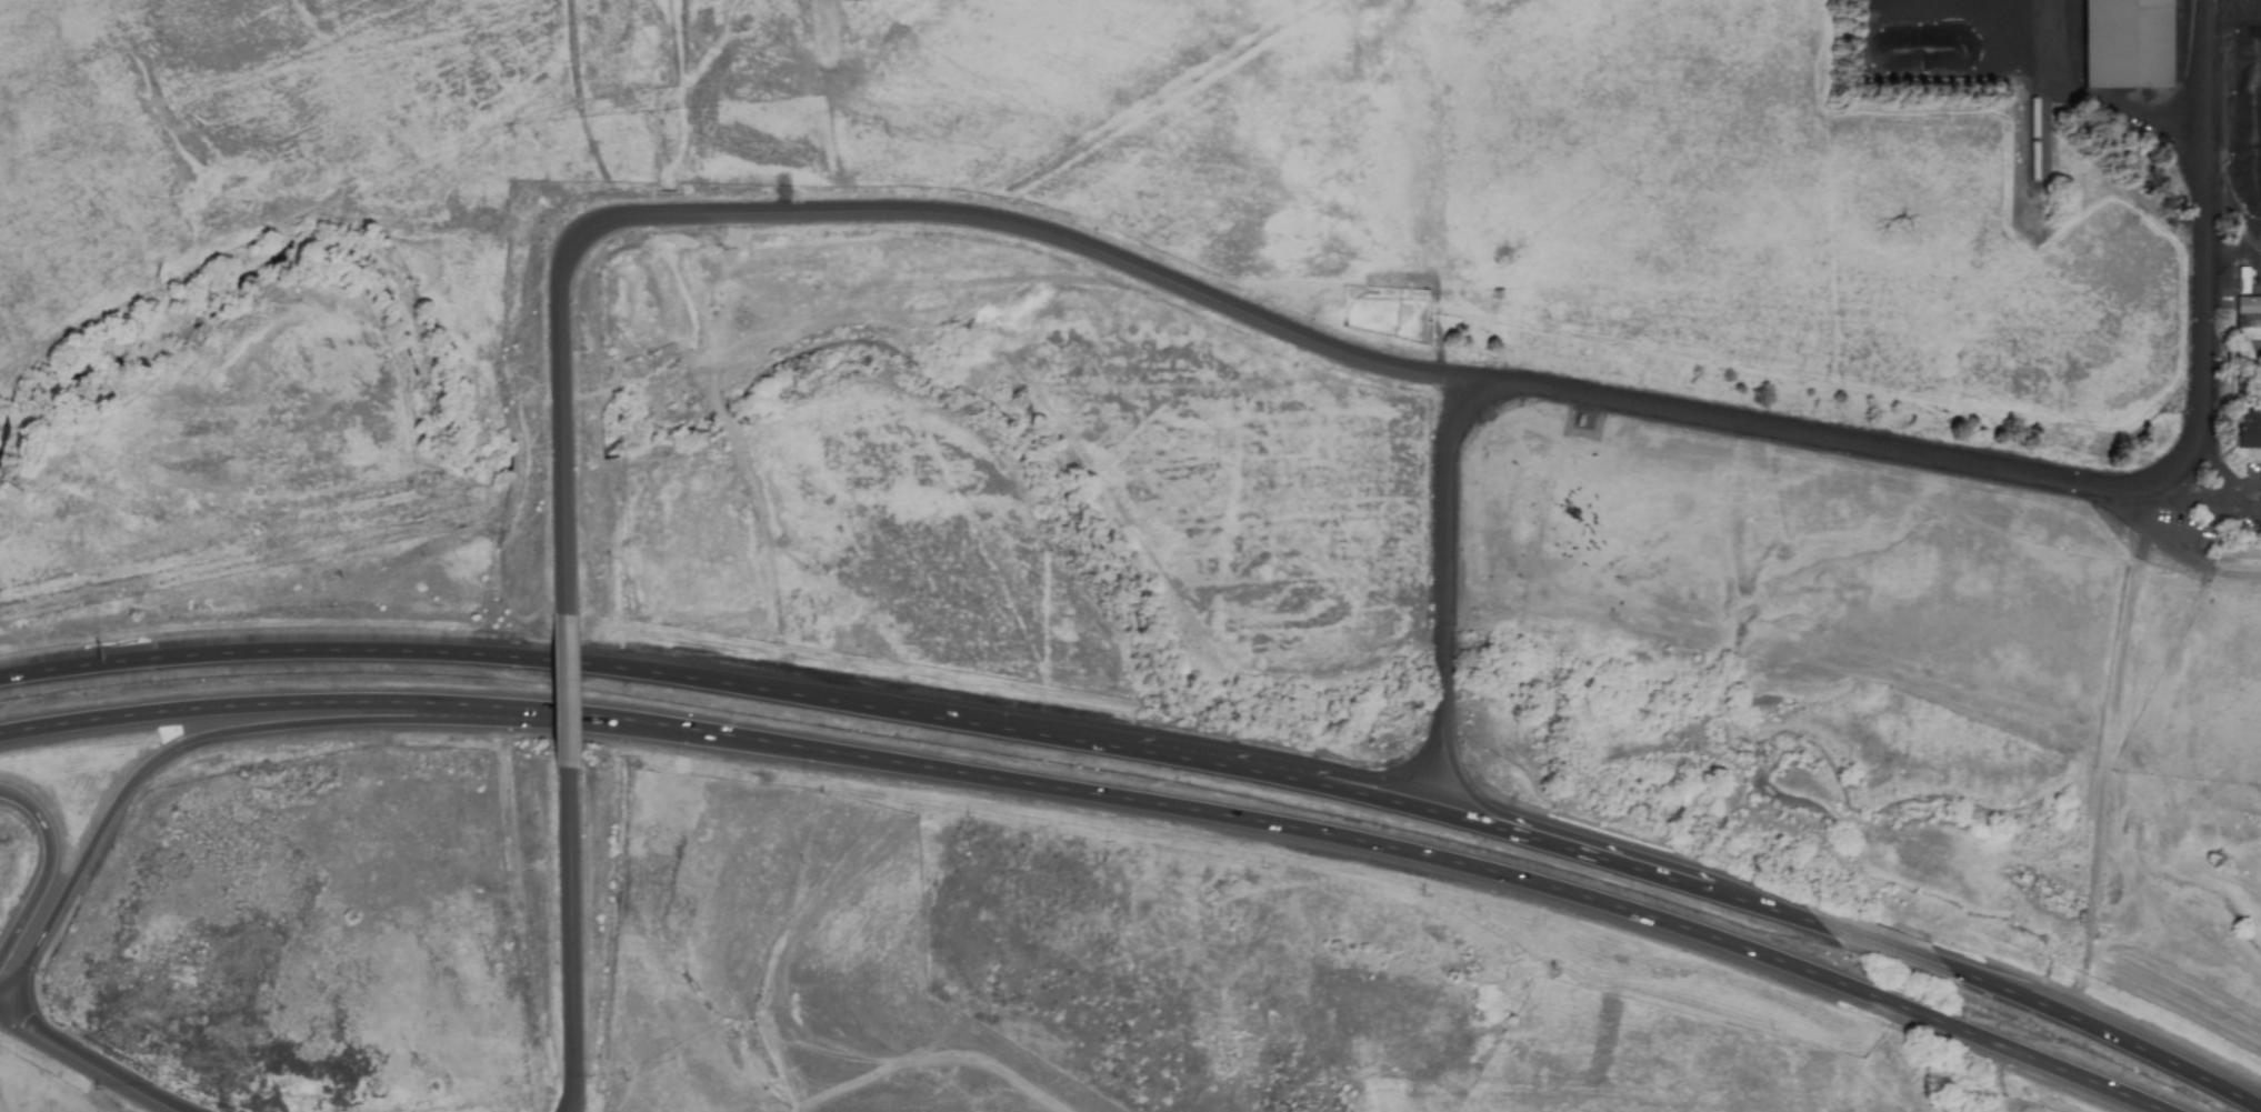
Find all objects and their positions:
building: (2125, 43)
railway: (2038, 89)
road: (856, 213)
building: (2248, 318)
building: (2249, 430)
road: (2220, 477)
road: (2072, 480)
road: (2210, 509)
road: (1442, 532)
road: (564, 690)
road: (789, 693)
road: (278, 703)
road: (209, 734)
road: (1392, 781)
road: (1474, 798)
road: (1221, 814)
road: (1601, 858)
road: (46, 868)
road: (1670, 879)
road: (1763, 906)
crop: (763, 938)
road: (569, 939)
road: (1883, 945)
road: (1914, 1012)
road: (2105, 1033)
road: (1842, 1039)
road: (933, 1059)
road: (89, 1063)
crop: (1682, 1064)
road: (2063, 1070)
crop: (177, 1111)

